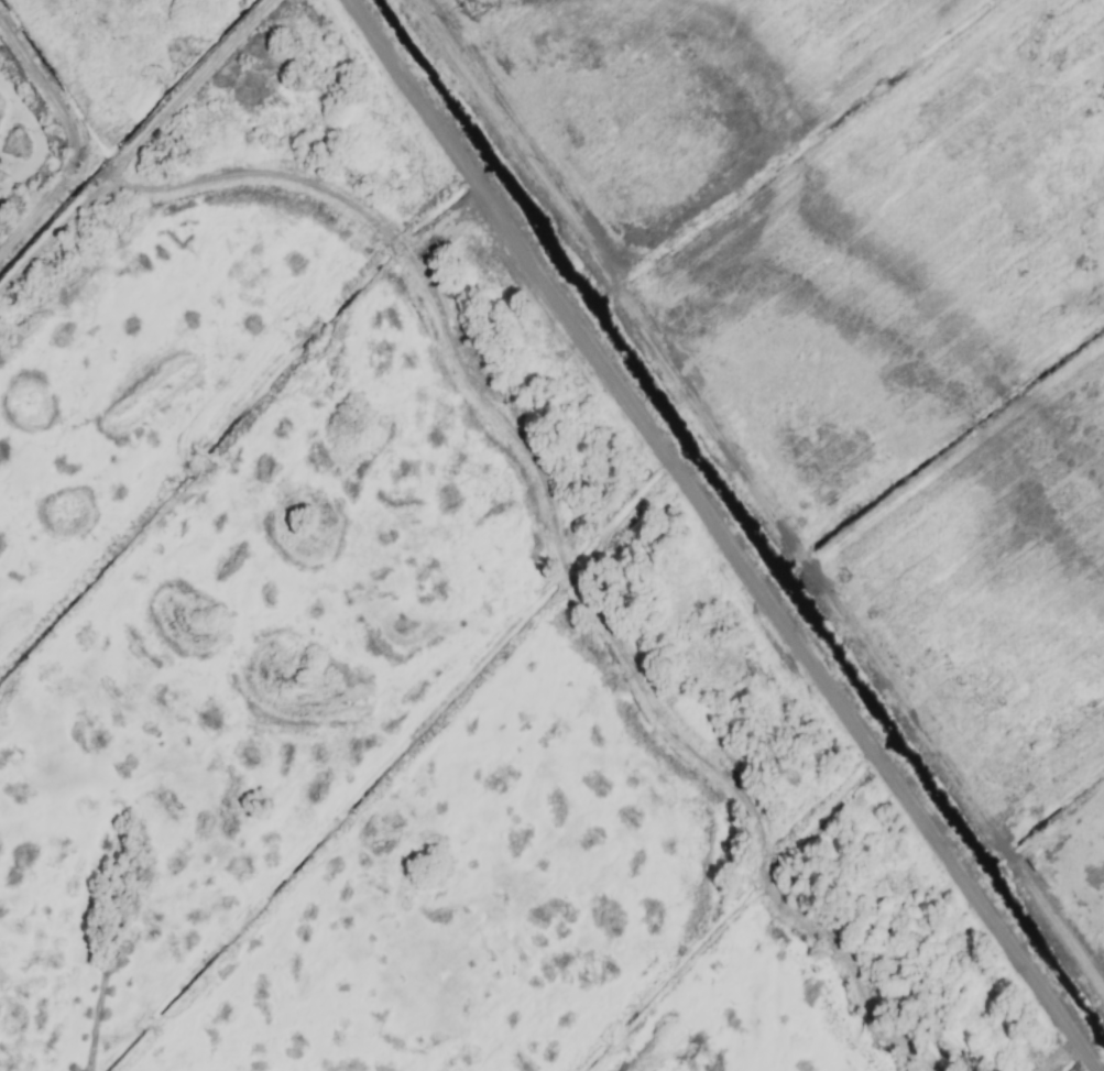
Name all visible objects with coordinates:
crop: (551, 535)

